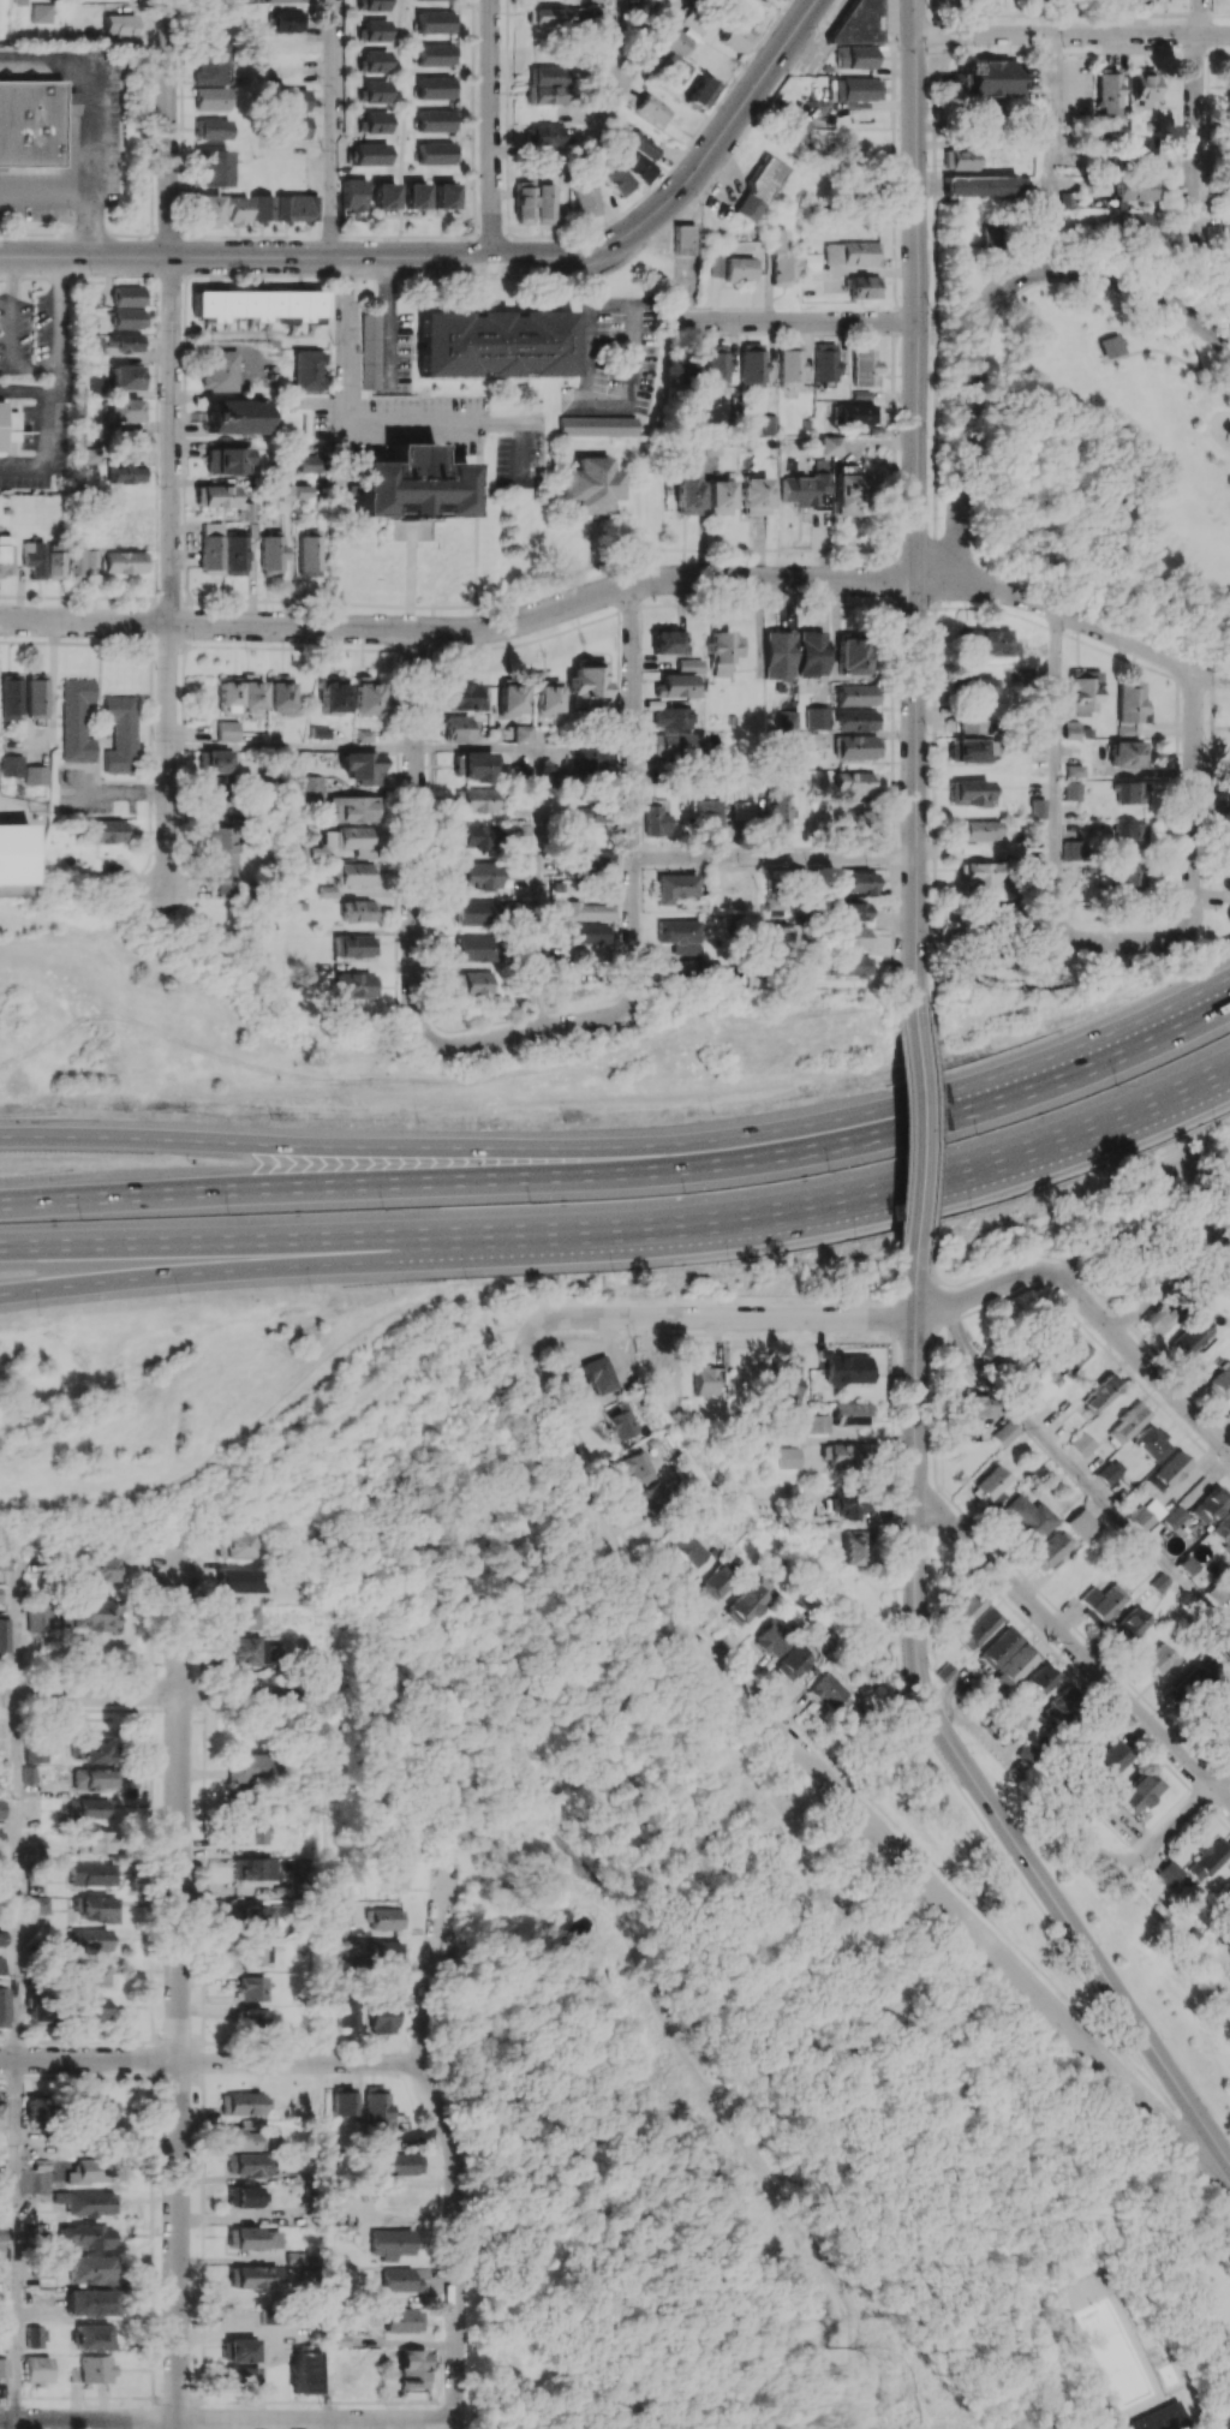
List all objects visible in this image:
building: (283, 0)
building: (419, 0)
building: (777, 0)
building: (19, 1)
building: (372, 5)
building: (44, 12)
building: (548, 14)
road: (1201, 17)
building: (288, 20)
building: (694, 20)
building: (435, 22)
building: (121, 24)
building: (374, 30)
road: (1073, 35)
building: (736, 38)
road: (620, 41)
building: (679, 42)
building: (435, 54)
building: (855, 56)
building: (374, 61)
building: (211, 64)
building: (677, 67)
building: (547, 76)
building: (987, 77)
building: (1229, 84)
building: (1142, 85)
building: (435, 88)
building: (854, 88)
building: (376, 91)
building: (703, 91)
building: (1107, 94)
building: (545, 95)
building: (211, 99)
building: (292, 99)
building: (67, 103)
building: (653, 109)
road: (607, 111)
road: (89, 120)
building: (435, 120)
building: (375, 123)
building: (30, 125)
building: (292, 126)
road: (333, 127)
road: (492, 127)
building: (213, 129)
building: (548, 135)
road: (1196, 139)
building: (1139, 148)
building: (436, 153)
building: (370, 154)
road: (1053, 154)
building: (638, 157)
building: (960, 157)
building: (213, 167)
building: (617, 179)
building: (981, 185)
building: (1136, 187)
building: (759, 189)
road: (44, 192)
building: (353, 193)
building: (383, 195)
building: (414, 195)
building: (443, 196)
building: (585, 196)
building: (524, 201)
building: (548, 204)
building: (262, 207)
building: (297, 208)
building: (235, 209)
building: (208, 210)
building: (1138, 225)
building: (685, 239)
building: (852, 252)
road: (473, 256)
road: (6, 257)
building: (783, 259)
building: (813, 261)
building: (739, 269)
road: (933, 285)
building: (865, 286)
building: (129, 296)
road: (1008, 303)
building: (261, 305)
road: (992, 308)
building: (130, 317)
road: (800, 321)
road: (389, 322)
road: (56, 327)
road: (11, 334)
street lamp: (1199, 339)
road: (346, 340)
building: (496, 344)
building: (1113, 345)
road: (1157, 350)
building: (370, 351)
building: (825, 362)
building: (752, 364)
building: (716, 365)
building: (790, 365)
building: (864, 368)
building: (309, 370)
building: (221, 371)
building: (127, 377)
road: (1216, 380)
road: (24, 390)
road: (607, 404)
building: (125, 410)
building: (238, 416)
building: (855, 416)
road: (460, 424)
building: (1, 425)
building: (597, 425)
building: (130, 441)
road: (173, 444)
building: (830, 444)
building: (695, 447)
road: (48, 449)
building: (228, 460)
building: (307, 462)
park: (1113, 467)
building: (126, 473)
building: (410, 484)
building: (591, 484)
building: (804, 489)
building: (303, 491)
building: (216, 495)
building: (688, 495)
building: (756, 495)
building: (720, 497)
road: (916, 503)
building: (115, 531)
road: (953, 539)
building: (211, 548)
building: (271, 553)
building: (309, 553)
building: (5, 555)
building: (235, 555)
building: (34, 557)
building: (90, 557)
building: (55, 560)
building: (124, 561)
building: (74, 562)
road: (936, 572)
road: (1087, 623)
road: (479, 628)
road: (1076, 638)
building: (669, 641)
building: (986, 641)
building: (722, 650)
building: (812, 653)
building: (778, 655)
building: (852, 656)
building: (688, 664)
building: (1021, 674)
road: (1224, 675)
building: (585, 679)
building: (675, 685)
building: (979, 686)
building: (1083, 691)
building: (240, 694)
building: (280, 694)
building: (858, 694)
building: (36, 696)
building: (332, 696)
building: (547, 696)
building: (11, 697)
building: (462, 697)
building: (366, 698)
building: (510, 698)
building: (581, 703)
building: (1130, 706)
building: (673, 716)
building: (818, 717)
building: (77, 720)
building: (788, 720)
building: (858, 720)
building: (972, 720)
building: (459, 728)
building: (1071, 729)
building: (228, 730)
building: (318, 732)
building: (524, 733)
building: (121, 734)
building: (675, 744)
road: (292, 747)
building: (858, 747)
road: (477, 748)
building: (969, 750)
building: (1129, 753)
building: (589, 758)
building: (216, 760)
building: (12, 765)
building: (477, 765)
building: (360, 768)
building: (1075, 770)
building: (36, 775)
building: (855, 783)
road: (1058, 787)
building: (310, 788)
building: (1071, 790)
road: (117, 792)
building: (968, 793)
building: (1132, 793)
road: (632, 794)
building: (476, 800)
building: (1038, 807)
building: (354, 808)
road: (935, 808)
building: (741, 810)
building: (589, 812)
building: (777, 814)
building: (710, 817)
building: (862, 819)
building: (656, 820)
building: (106, 830)
building: (979, 830)
road: (417, 834)
building: (1129, 834)
building: (474, 835)
building: (348, 841)
building: (524, 842)
building: (1073, 849)
building: (13, 853)
building: (225, 855)
road: (774, 858)
building: (593, 860)
road: (1195, 867)
building: (978, 872)
building: (357, 873)
building: (478, 875)
building: (799, 875)
building: (1124, 875)
building: (1228, 876)
building: (856, 882)
building: (674, 887)
building: (327, 890)
road: (536, 890)
building: (772, 906)
building: (360, 911)
building: (587, 911)
building: (477, 912)
building: (850, 912)
building: (999, 913)
building: (587, 933)
building: (677, 935)
building: (778, 937)
building: (850, 938)
building: (356, 945)
building: (477, 948)
building: (987, 960)
building: (844, 966)
building: (476, 983)
building: (357, 985)
street lamp: (1127, 997)
street lamp: (896, 1011)
road: (529, 1032)
street lamp: (995, 1048)
street lamp: (1113, 1086)
street lamp: (858, 1088)
street lamp: (127, 1111)
street lamp: (715, 1112)
street lamp: (274, 1117)
street lamp: (419, 1122)
street lamp: (567, 1122)
street lamp: (1216, 1122)
road: (918, 1132)
road: (930, 1133)
street lamp: (975, 1135)
road: (625, 1141)
street lamp: (935, 1147)
street lamp: (830, 1171)
street lamp: (1099, 1171)
road: (628, 1174)
road: (1192, 1192)
road: (858, 1193)
street lamp: (683, 1194)
street lamp: (530, 1202)
street lamp: (383, 1208)
street lamp: (973, 1213)
street lamp: (229, 1214)
street lamp: (82, 1219)
road: (1214, 1227)
road: (232, 1240)
street lamp: (861, 1243)
building: (1129, 1255)
road: (232, 1261)
street lamp: (730, 1264)
street lamp: (896, 1266)
road: (931, 1269)
street lamp: (614, 1276)
street lamp: (464, 1281)
road: (1162, 1281)
street lamp: (311, 1291)
road: (896, 1291)
street lamp: (178, 1299)
street lamp: (804, 1300)
road: (1091, 1308)
street lamp: (38, 1314)
road: (726, 1318)
building: (1158, 1318)
road: (707, 1333)
street lamp: (634, 1337)
building: (1188, 1338)
building: (1071, 1351)
road: (530, 1365)
building: (844, 1368)
building: (705, 1379)
building: (1220, 1381)
building: (664, 1383)
building: (783, 1384)
building: (1101, 1391)
building: (973, 1404)
building: (850, 1414)
building: (621, 1420)
building: (1128, 1422)
building: (817, 1424)
building: (1005, 1433)
building: (1152, 1443)
building: (1082, 1444)
building: (846, 1456)
building: (788, 1457)
road: (286, 1466)
building: (637, 1468)
building: (1171, 1468)
building: (1111, 1470)
road: (1079, 1474)
road: (918, 1484)
building: (991, 1486)
building: (649, 1497)
building: (1211, 1504)
building: (849, 1506)
building: (1147, 1514)
building: (1175, 1516)
building: (1028, 1520)
building: (1083, 1524)
building: (1223, 1530)
building: (237, 1545)
building: (853, 1546)
building: (689, 1547)
building: (1051, 1550)
building: (4, 1560)
road: (149, 1564)
building: (96, 1572)
building: (720, 1578)
building: (239, 1580)
building: (1159, 1582)
building: (1218, 1592)
building: (0, 1593)
building: (1101, 1601)
building: (746, 1604)
building: (965, 1609)
building: (92, 1613)
building: (238, 1617)
road: (16, 1618)
building: (38, 1618)
road: (327, 1622)
building: (1129, 1625)
building: (979, 1627)
building: (4, 1634)
building: (774, 1637)
building: (999, 1646)
road: (1074, 1648)
building: (241, 1651)
building: (1158, 1660)
building: (794, 1663)
building: (1015, 1665)
building: (945, 1671)
building: (1040, 1677)
building: (1190, 1679)
building: (830, 1690)
road: (163, 1693)
building: (1224, 1708)
building: (1086, 1735)
building: (94, 1750)
building: (36, 1751)
road: (936, 1753)
building: (1025, 1753)
road: (830, 1755)
building: (1110, 1759)
building: (249, 1766)
building: (29, 1774)
road: (1023, 1777)
building: (95, 1779)
road: (835, 1784)
building: (1139, 1791)
building: (243, 1800)
building: (2, 1808)
building: (90, 1809)
road: (1174, 1821)
building: (251, 1833)
building: (94, 1842)
building: (1207, 1858)
building: (252, 1868)
building: (1169, 1872)
building: (92, 1874)
building: (390, 1875)
road: (16, 1876)
road: (328, 1878)
building: (1225, 1892)
building: (35, 1904)
building: (98, 1908)
building: (251, 1917)
building: (386, 1918)
road: (1174, 1927)
road: (1079, 1932)
building: (1, 1938)
building: (91, 1940)
park: (700, 1940)
building: (386, 1952)
building: (251, 1953)
building: (1, 1965)
building: (95, 1974)
building: (251, 1988)
road: (179, 2000)
building: (2, 2006)
building: (94, 2007)
building: (37, 2011)
building: (347, 2012)
building: (384, 2013)
building: (250, 2021)
road: (210, 2063)
building: (244, 2103)
building: (345, 2103)
building: (37, 2106)
building: (377, 2107)
building: (98, 2109)
road: (1163, 2120)
building: (243, 2135)
road: (454, 2143)
building: (404, 2164)
building: (249, 2165)
road: (1190, 2171)
building: (84, 2172)
building: (243, 2196)
building: (84, 2203)
building: (91, 2237)
building: (252, 2238)
road: (14, 2240)
building: (390, 2243)
building: (90, 2269)
building: (253, 2278)
building: (400, 2280)
building: (90, 2303)
building: (404, 2320)
building: (36, 2337)
building: (94, 2338)
building: (238, 2350)
building: (4, 2367)
building: (412, 2368)
building: (37, 2369)
building: (96, 2369)
building: (305, 2371)
building: (243, 2375)
building: (1160, 2418)
road: (225, 2421)
road: (13, 2424)

